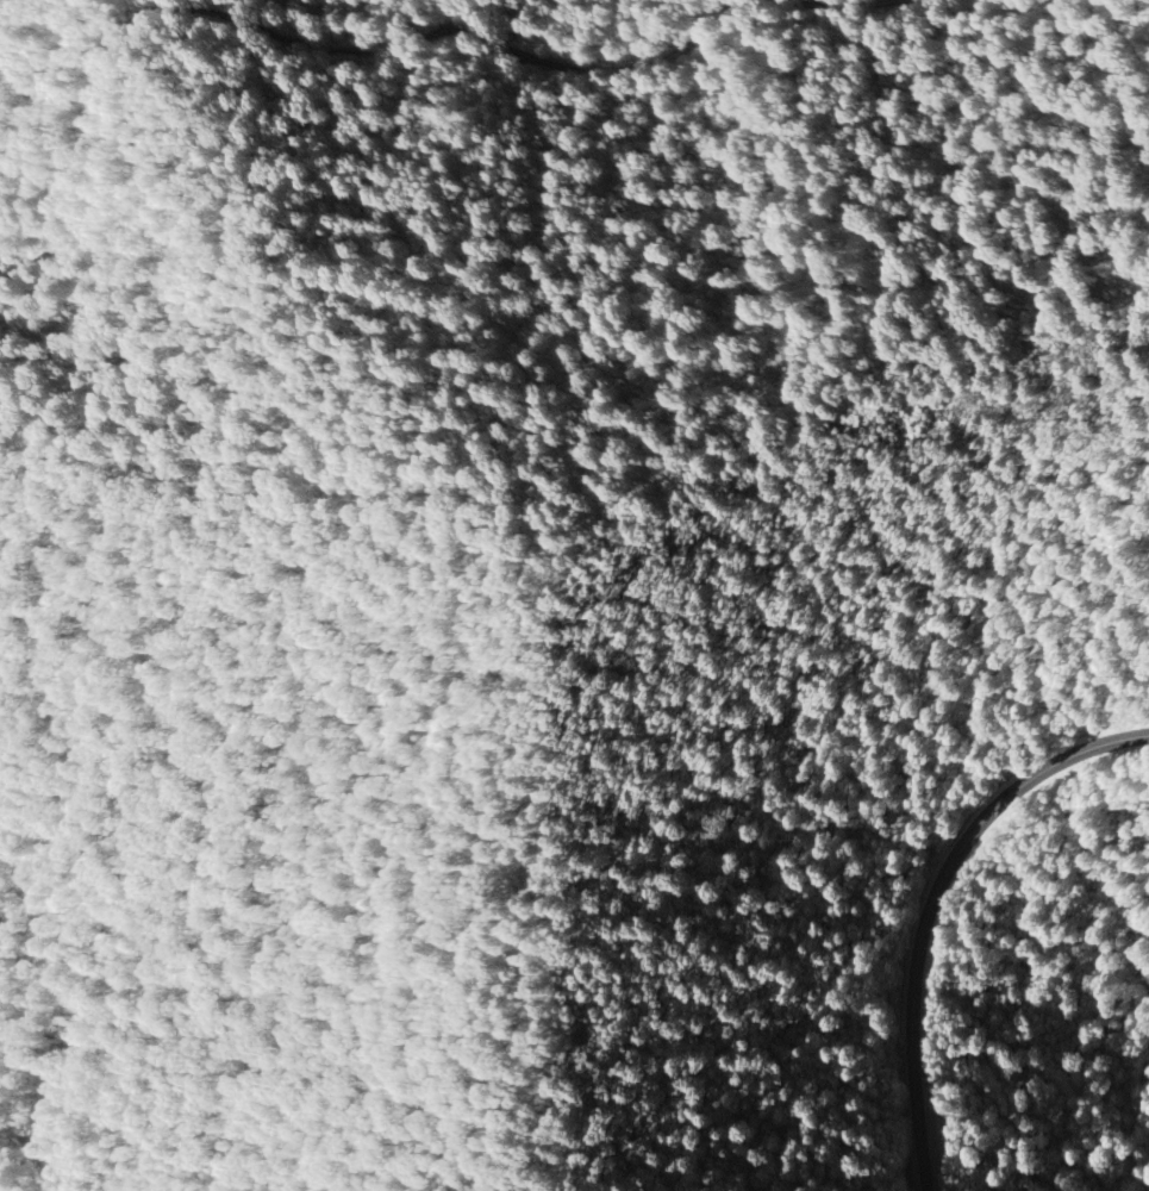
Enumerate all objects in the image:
road: (932, 905)

